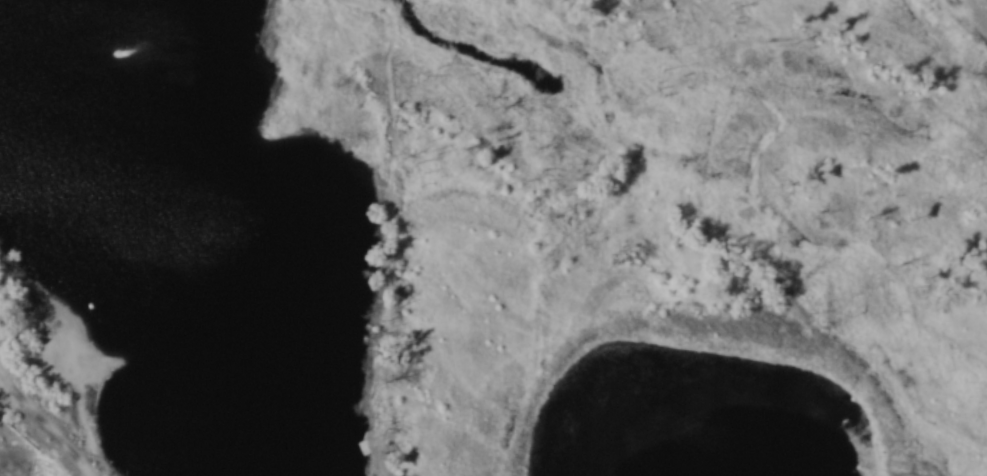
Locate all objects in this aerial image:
road: (52, 421)

